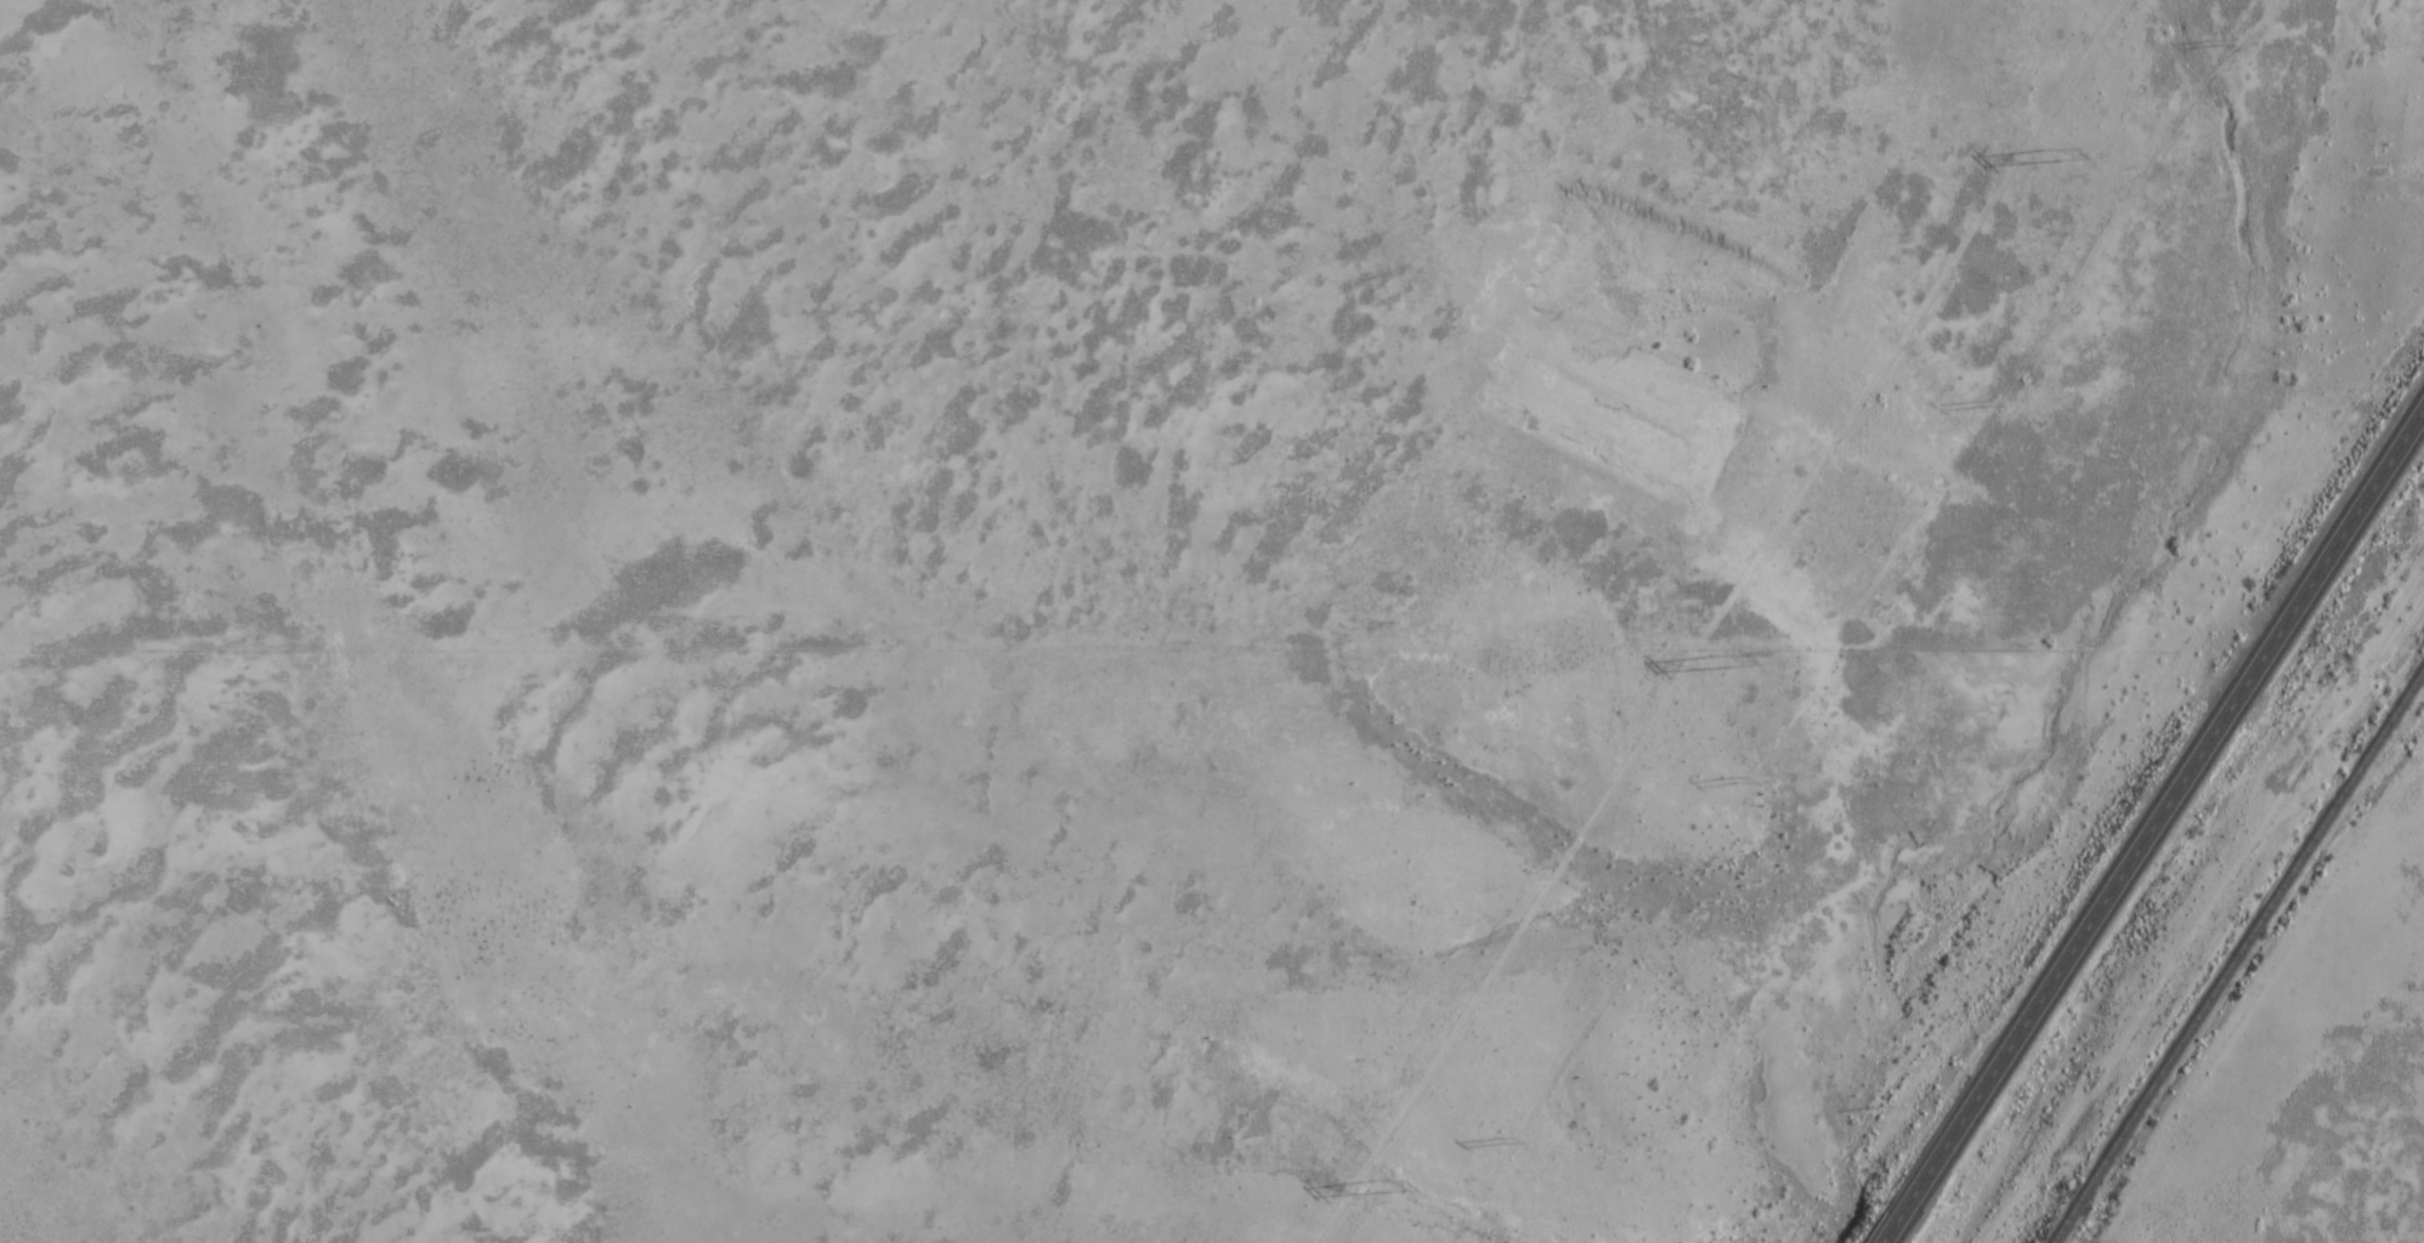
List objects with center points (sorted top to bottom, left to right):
power tower: (2044, 144)
power tower: (1717, 655)
road: (2150, 822)
railway: (2235, 953)
power tower: (1378, 1181)

